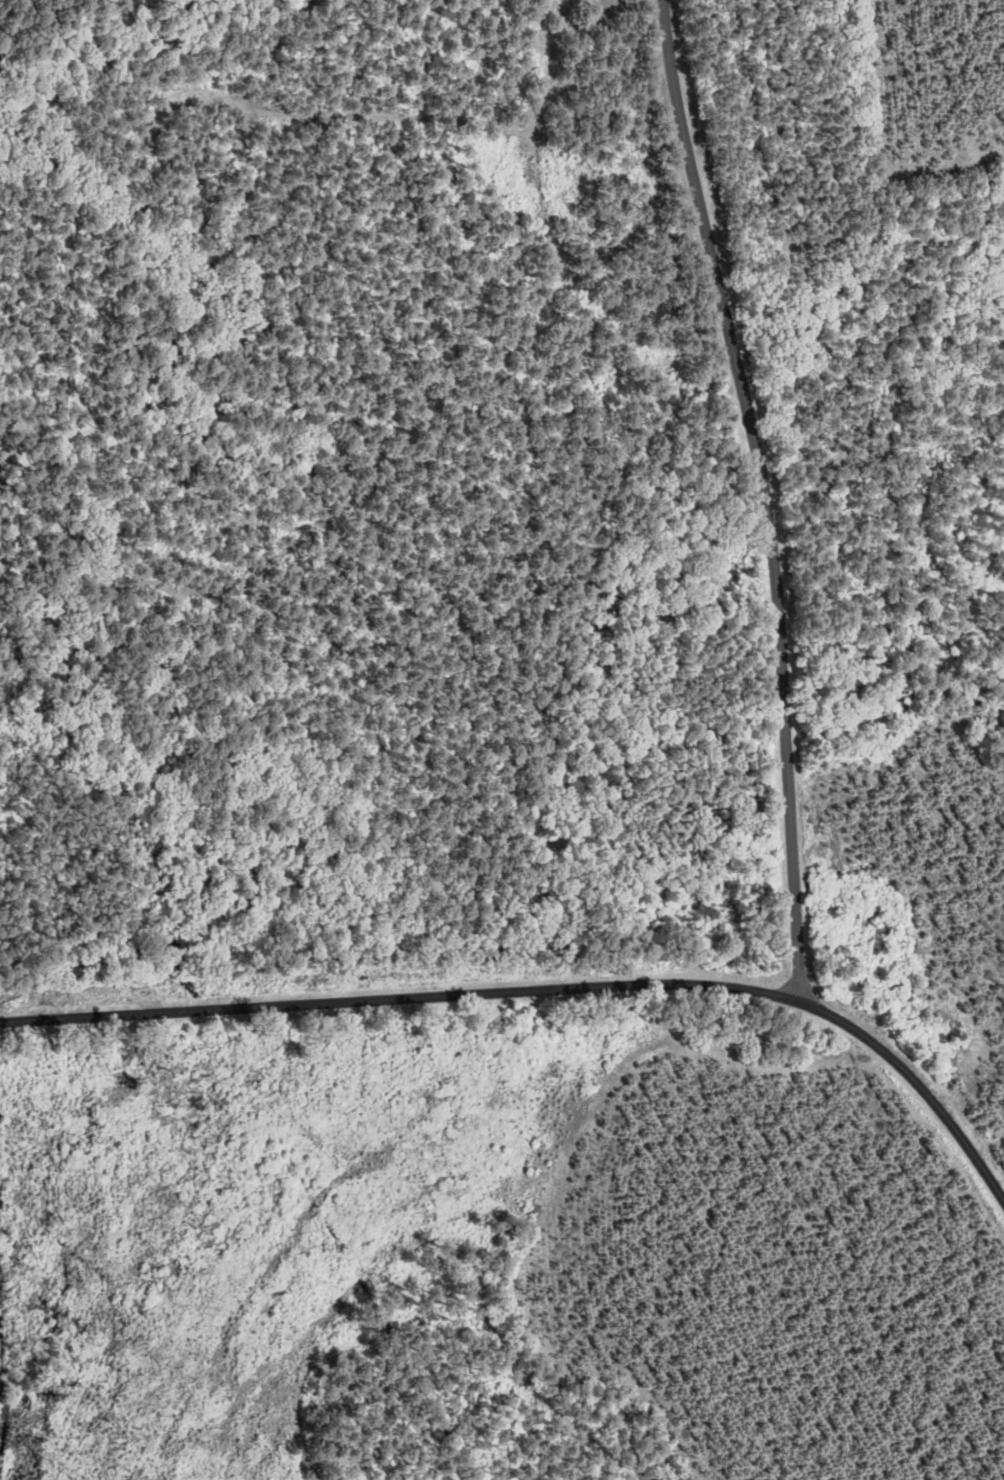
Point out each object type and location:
road: (765, 496)
road: (545, 989)

